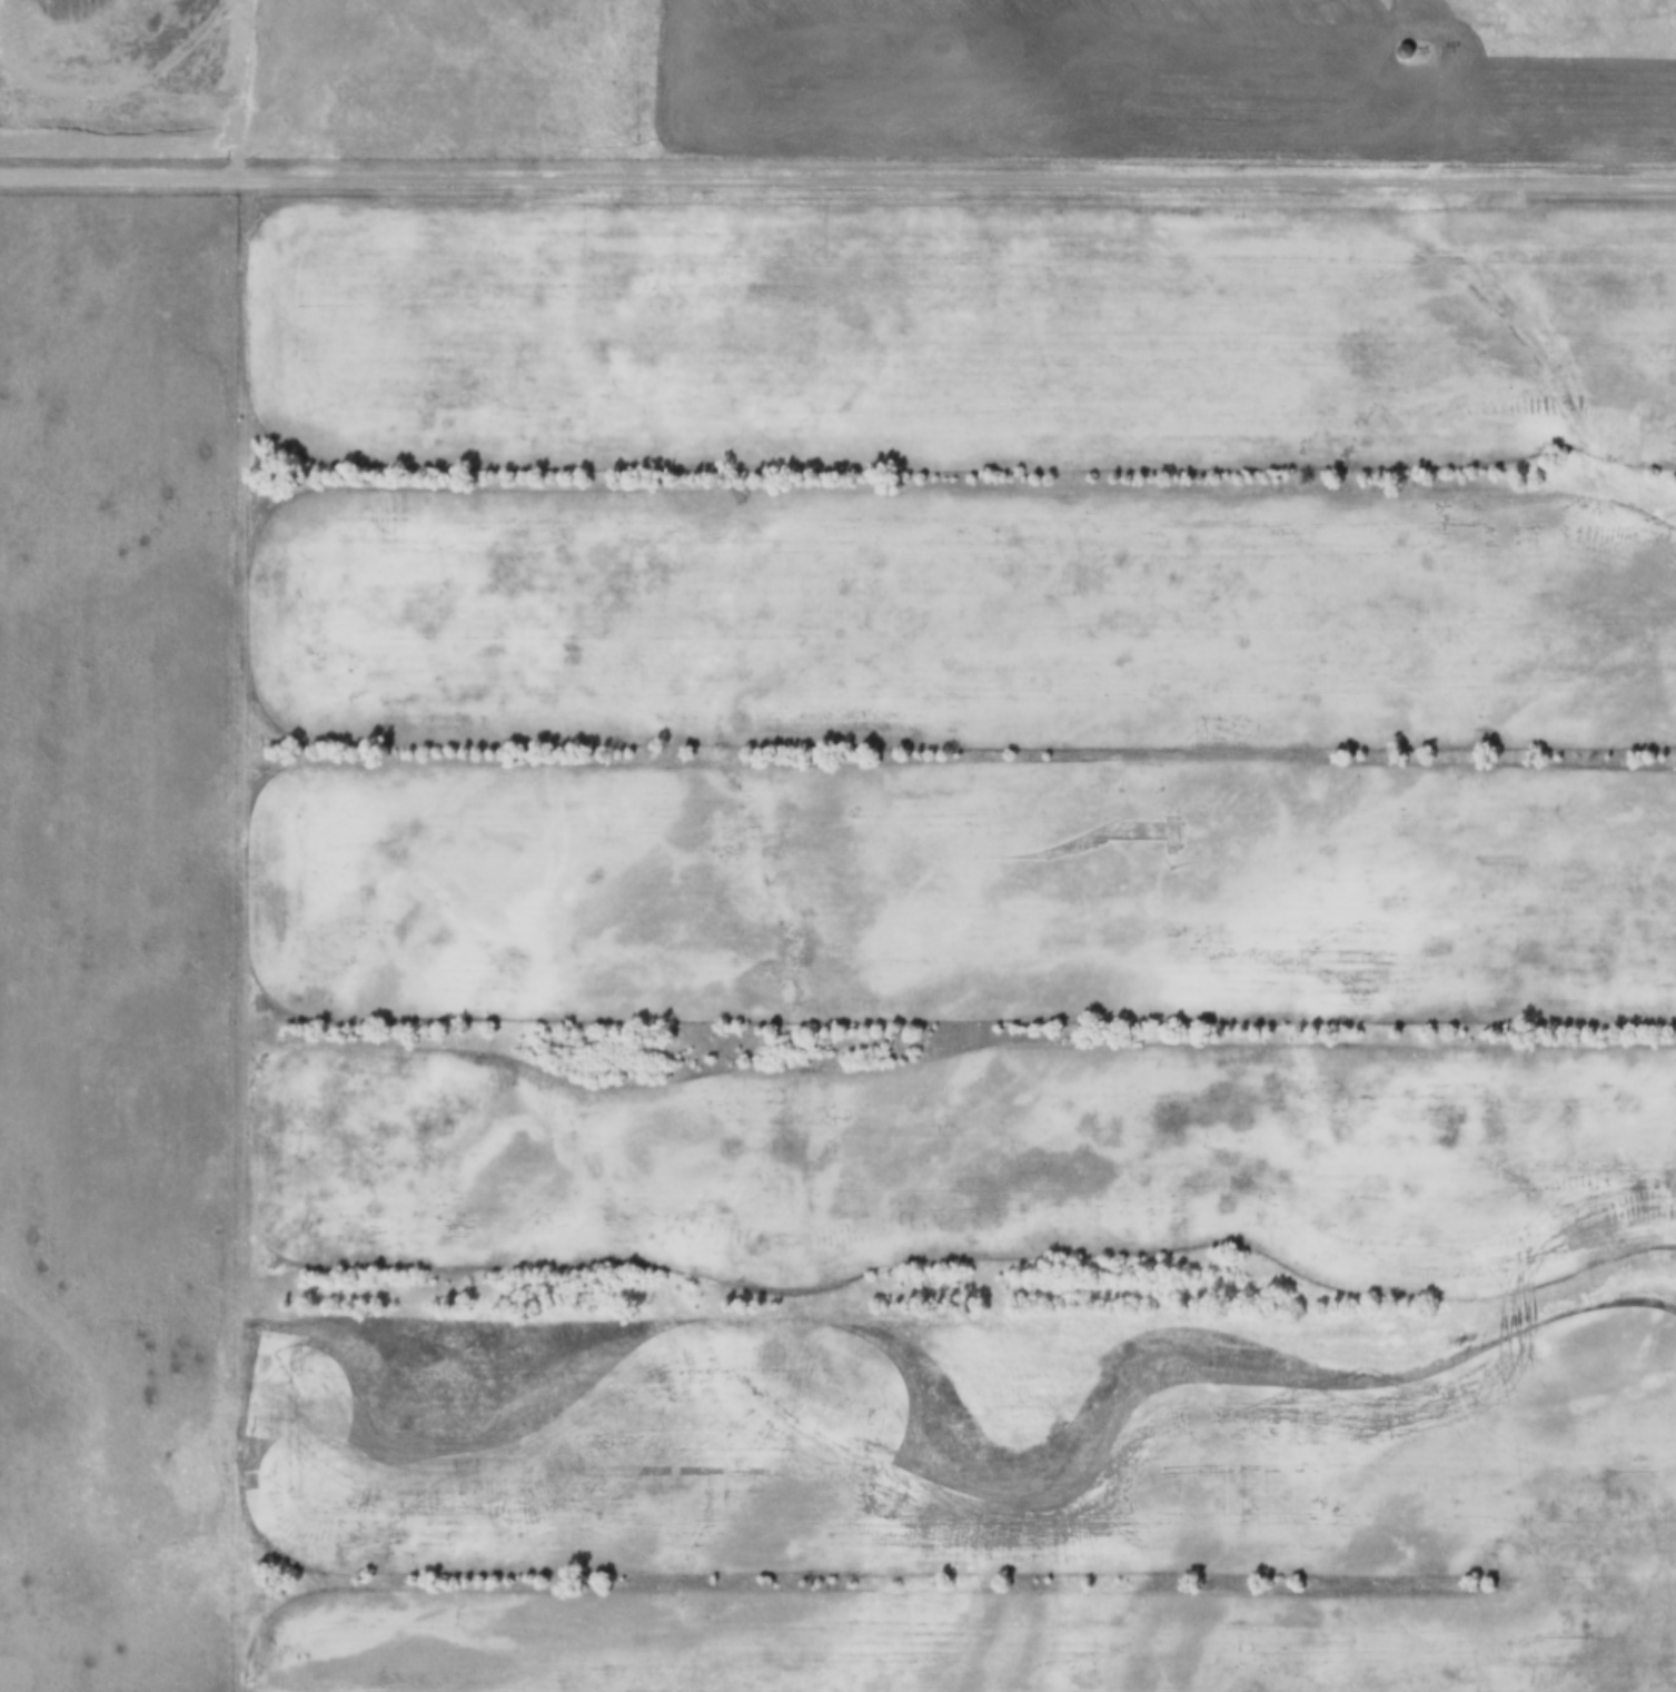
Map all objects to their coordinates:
building: (1407, 52)
road: (123, 176)
road: (962, 180)
road: (246, 845)

